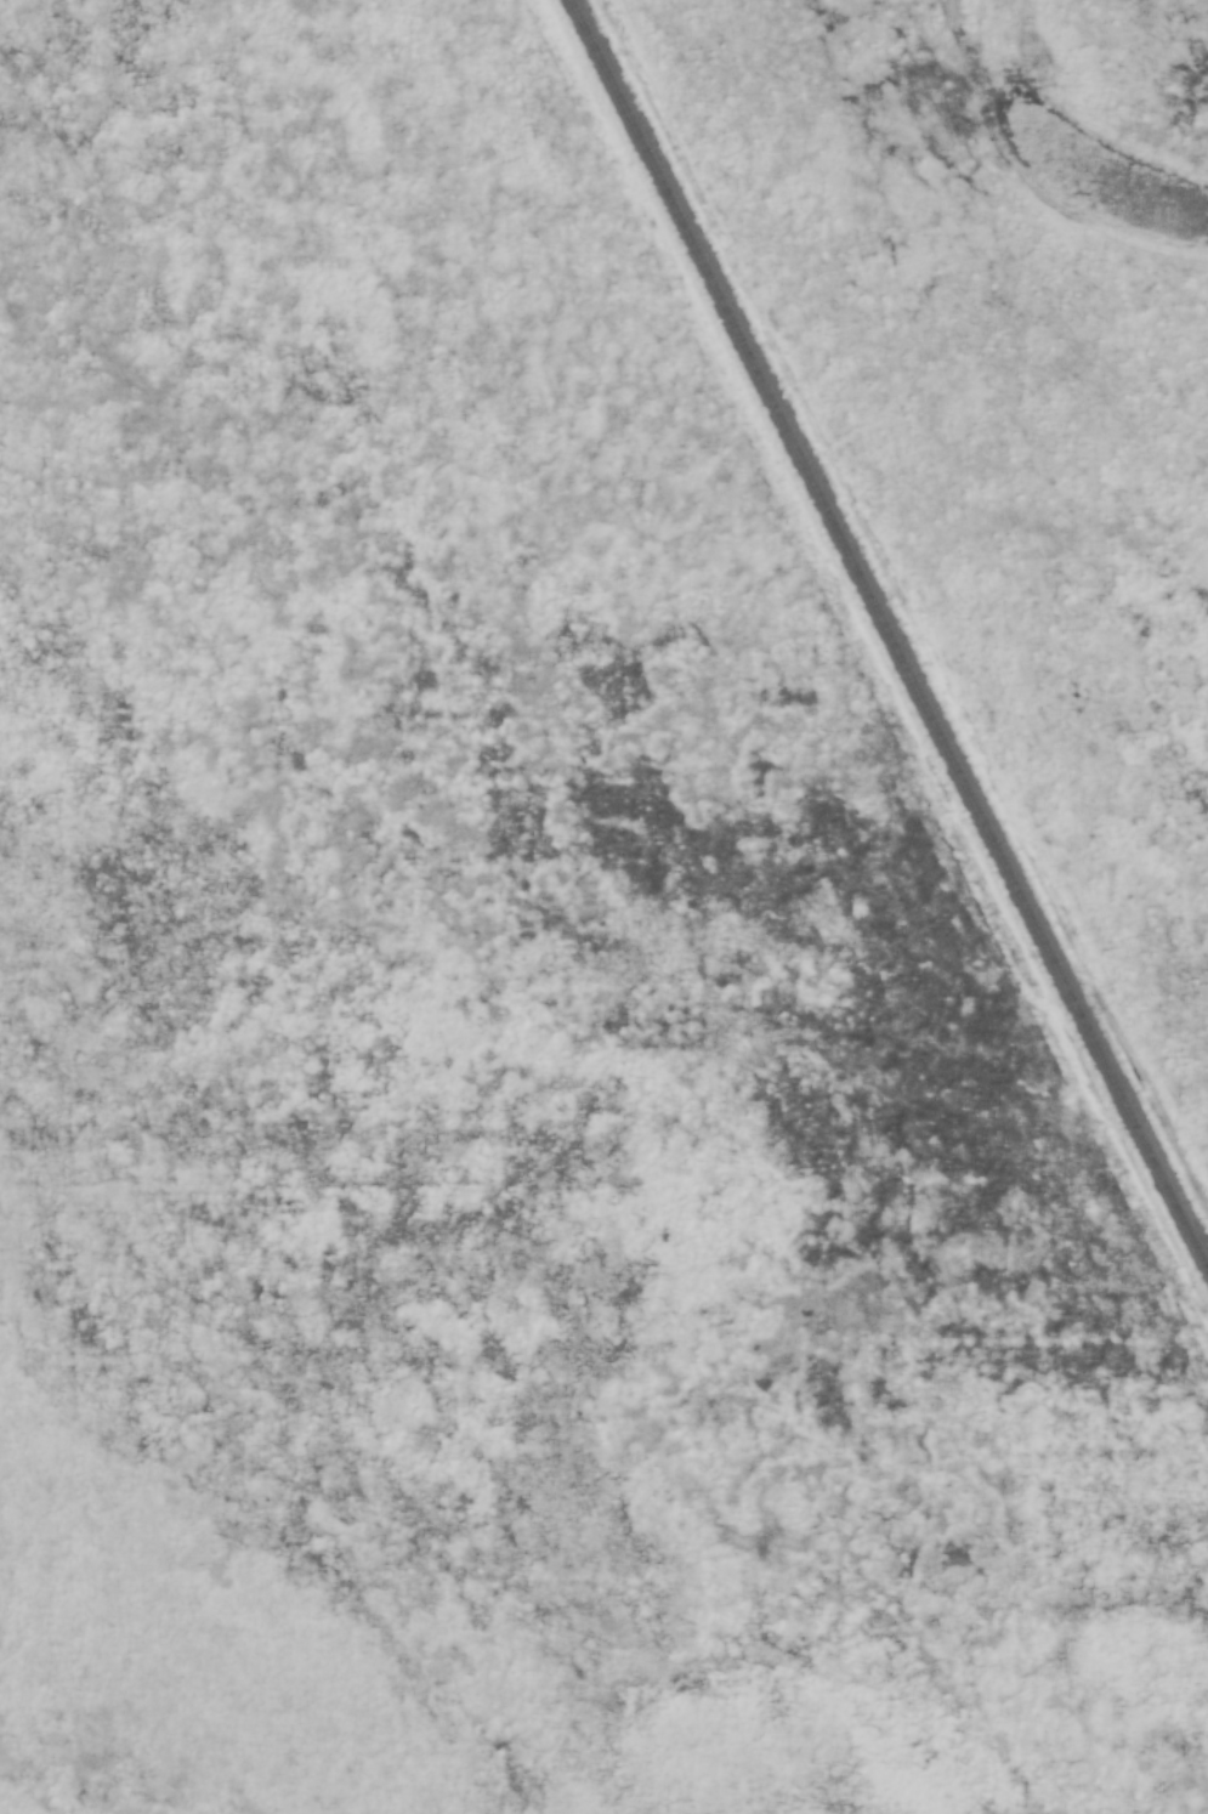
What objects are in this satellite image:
railway: (890, 634)

